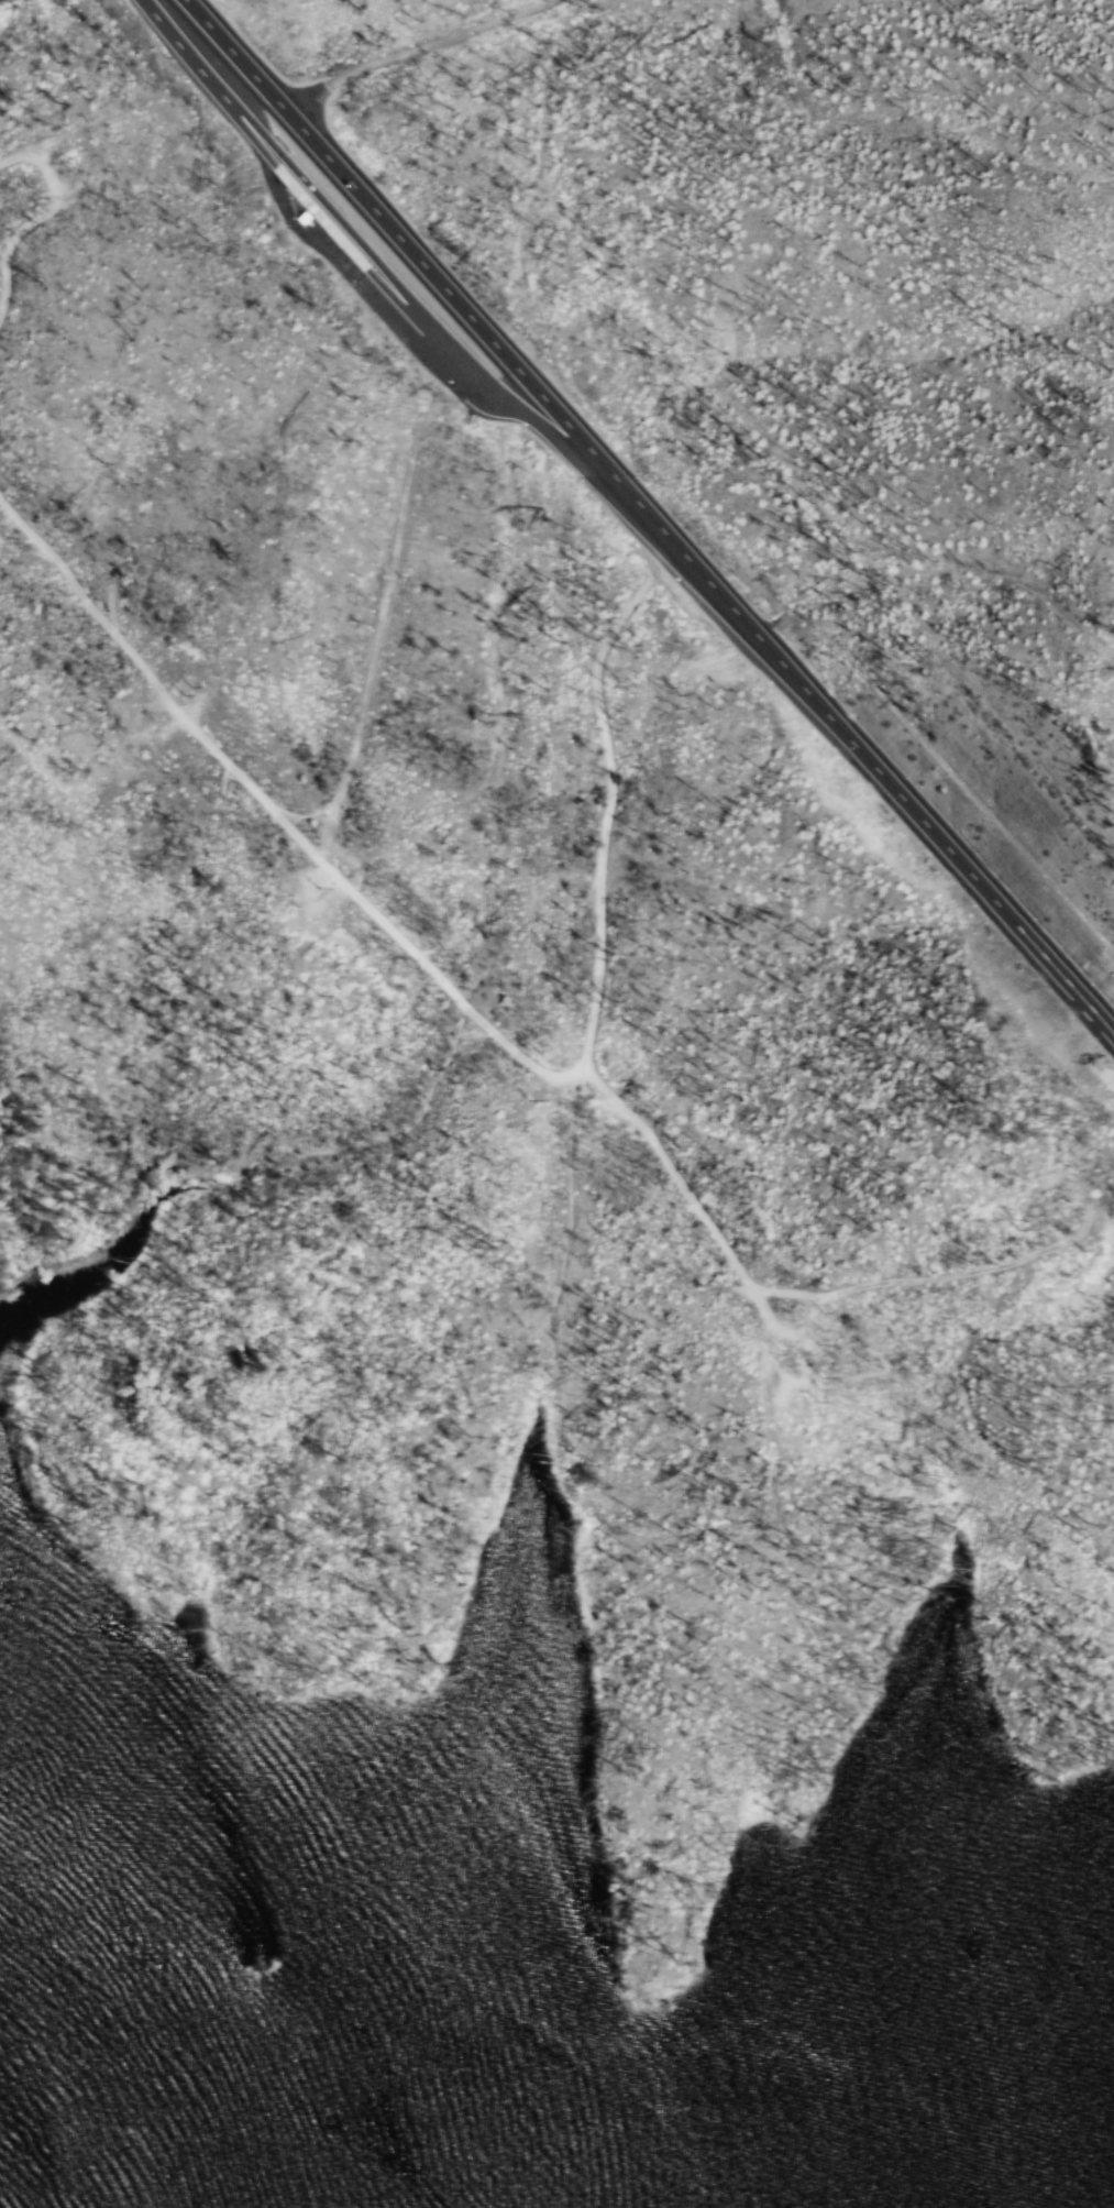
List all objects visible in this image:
road: (419, 48)
road: (652, 513)
power tower: (189, 691)
road: (602, 982)
power tower: (988, 1222)
power tower: (803, 1329)
power tower: (806, 1387)

